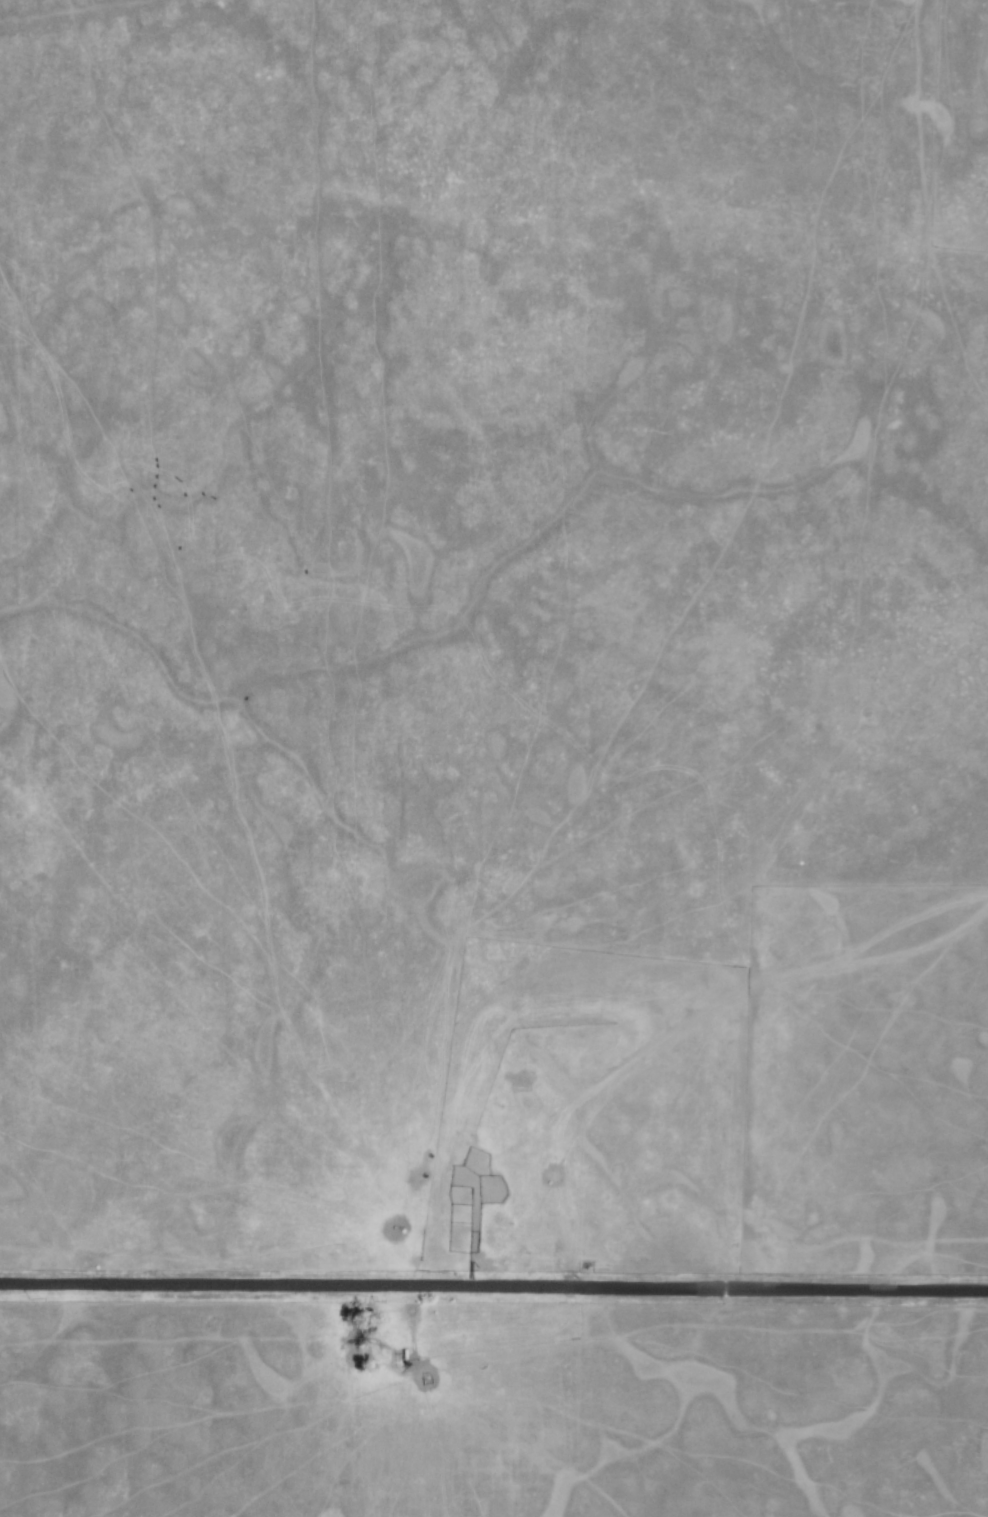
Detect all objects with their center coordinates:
road: (494, 1286)

